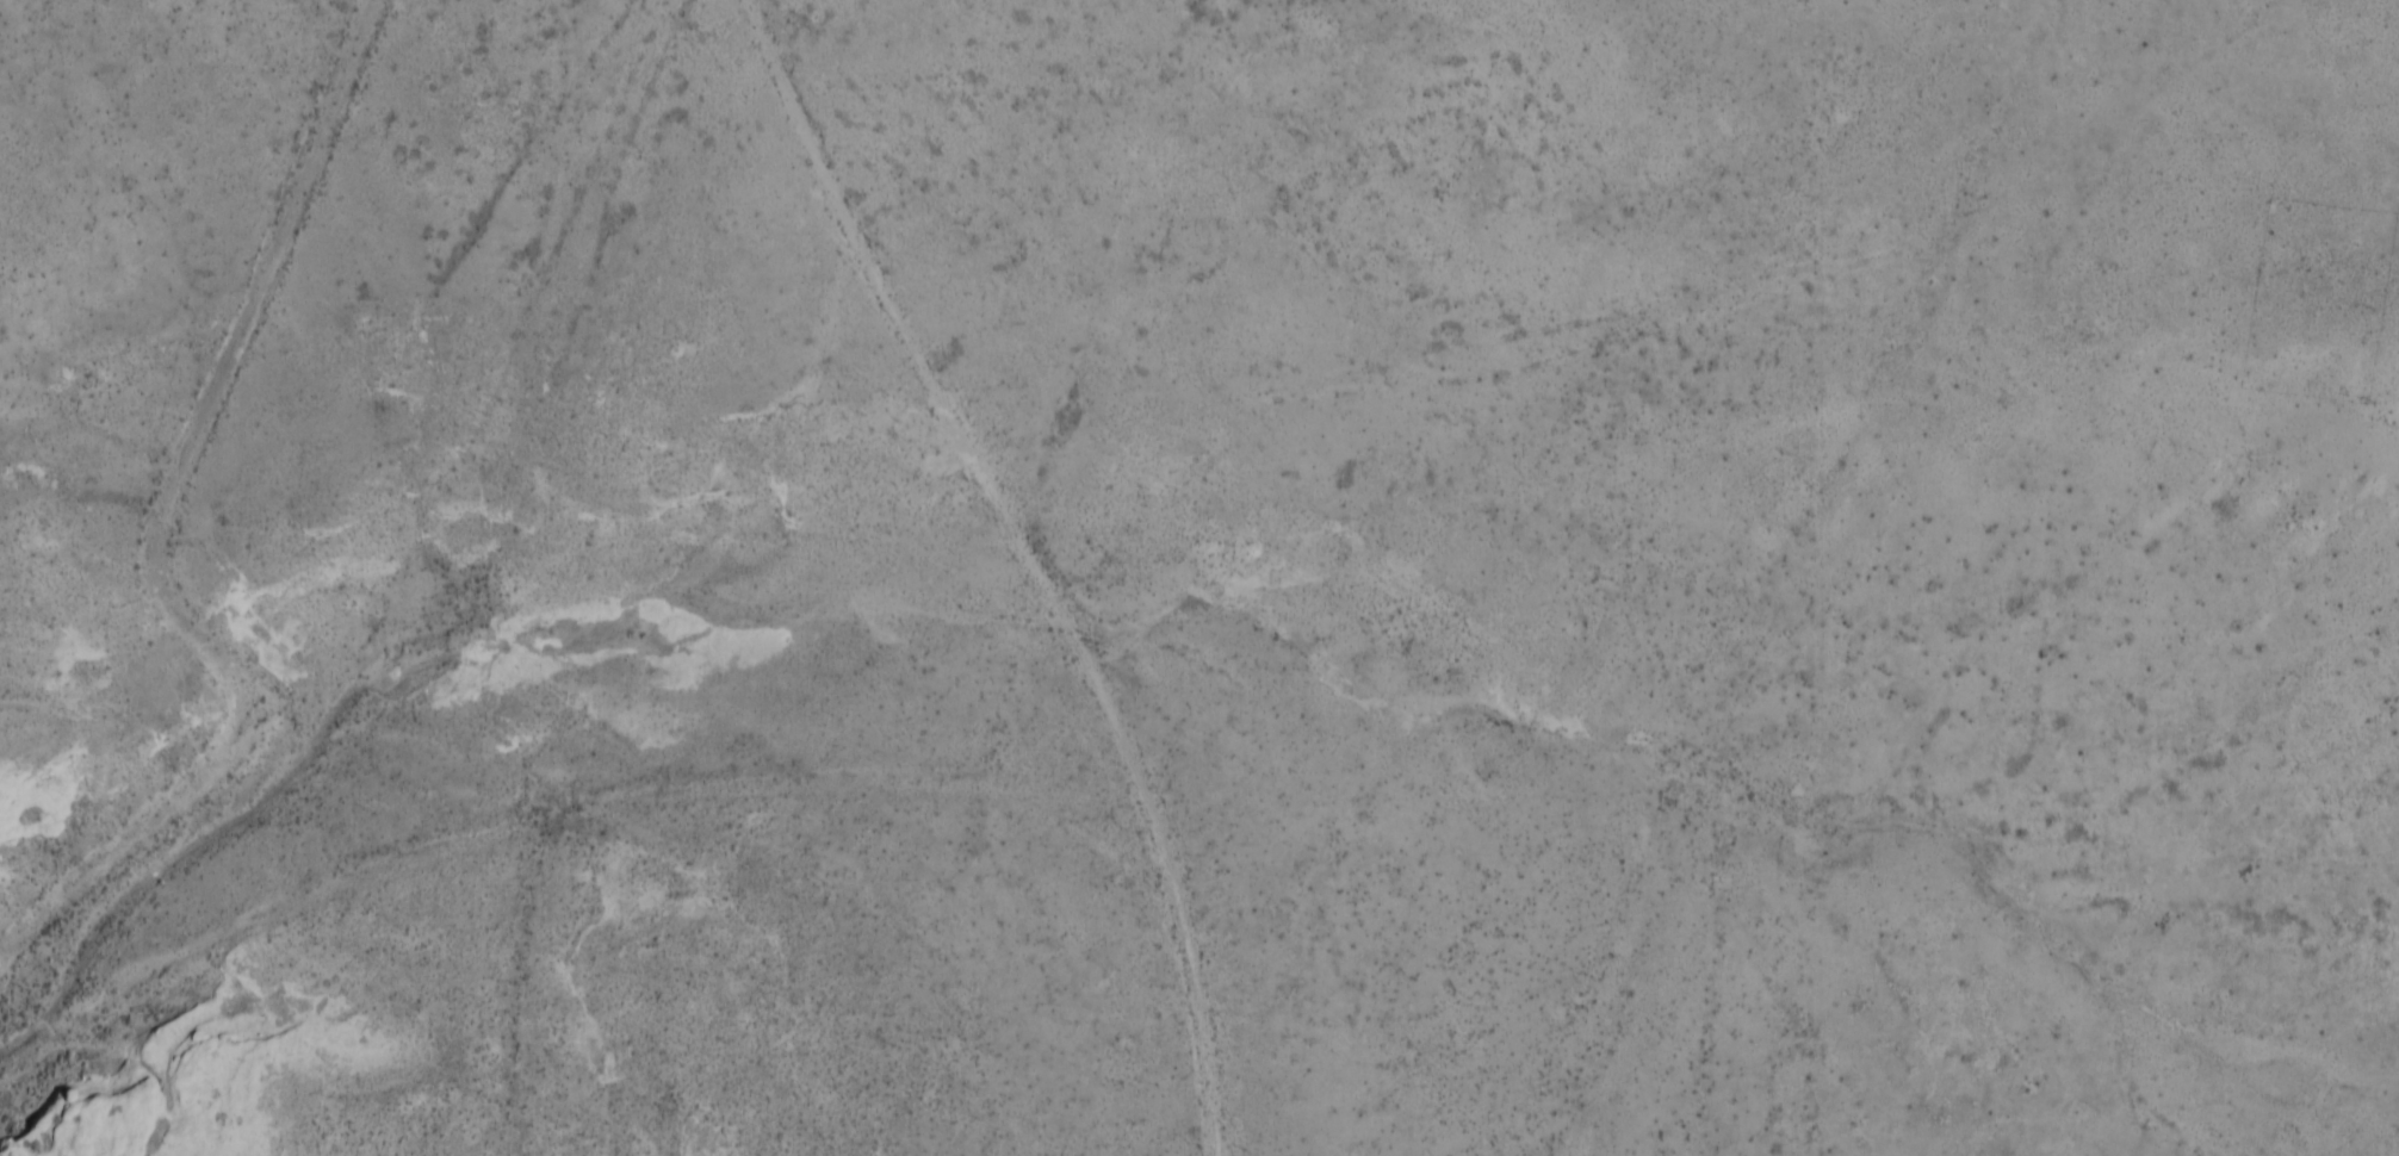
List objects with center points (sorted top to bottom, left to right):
road: (157, 528)
road: (1035, 560)
road: (522, 810)

